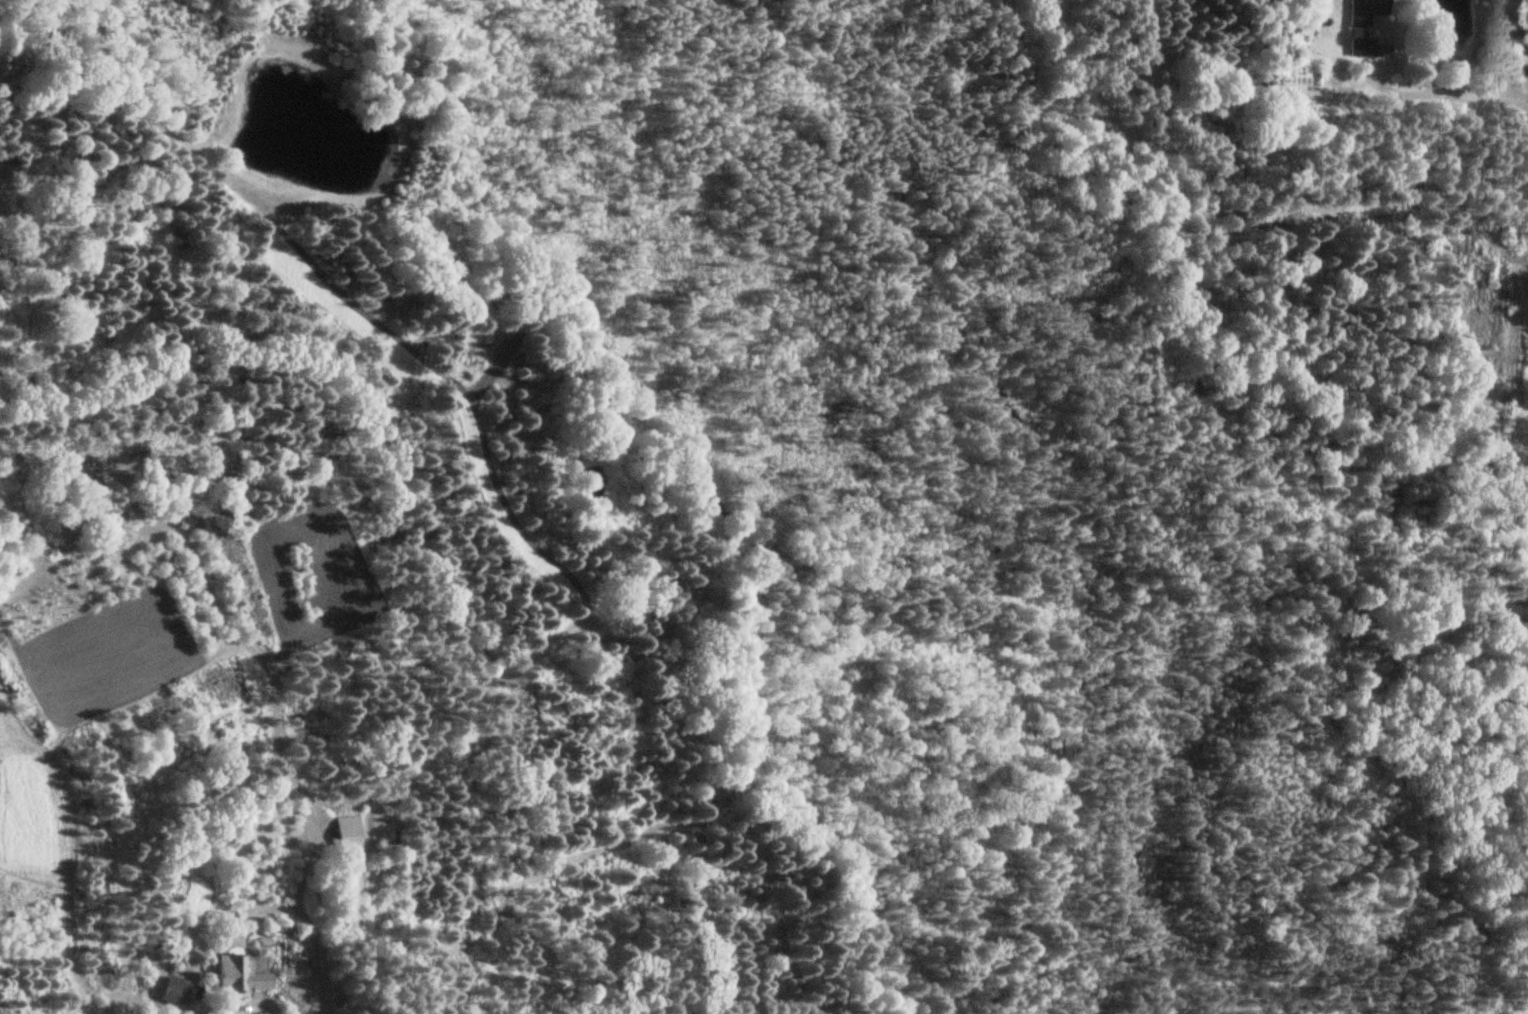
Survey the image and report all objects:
building: (1365, 11)
building: (1365, 47)
building: (347, 836)
building: (239, 976)
building: (174, 992)

